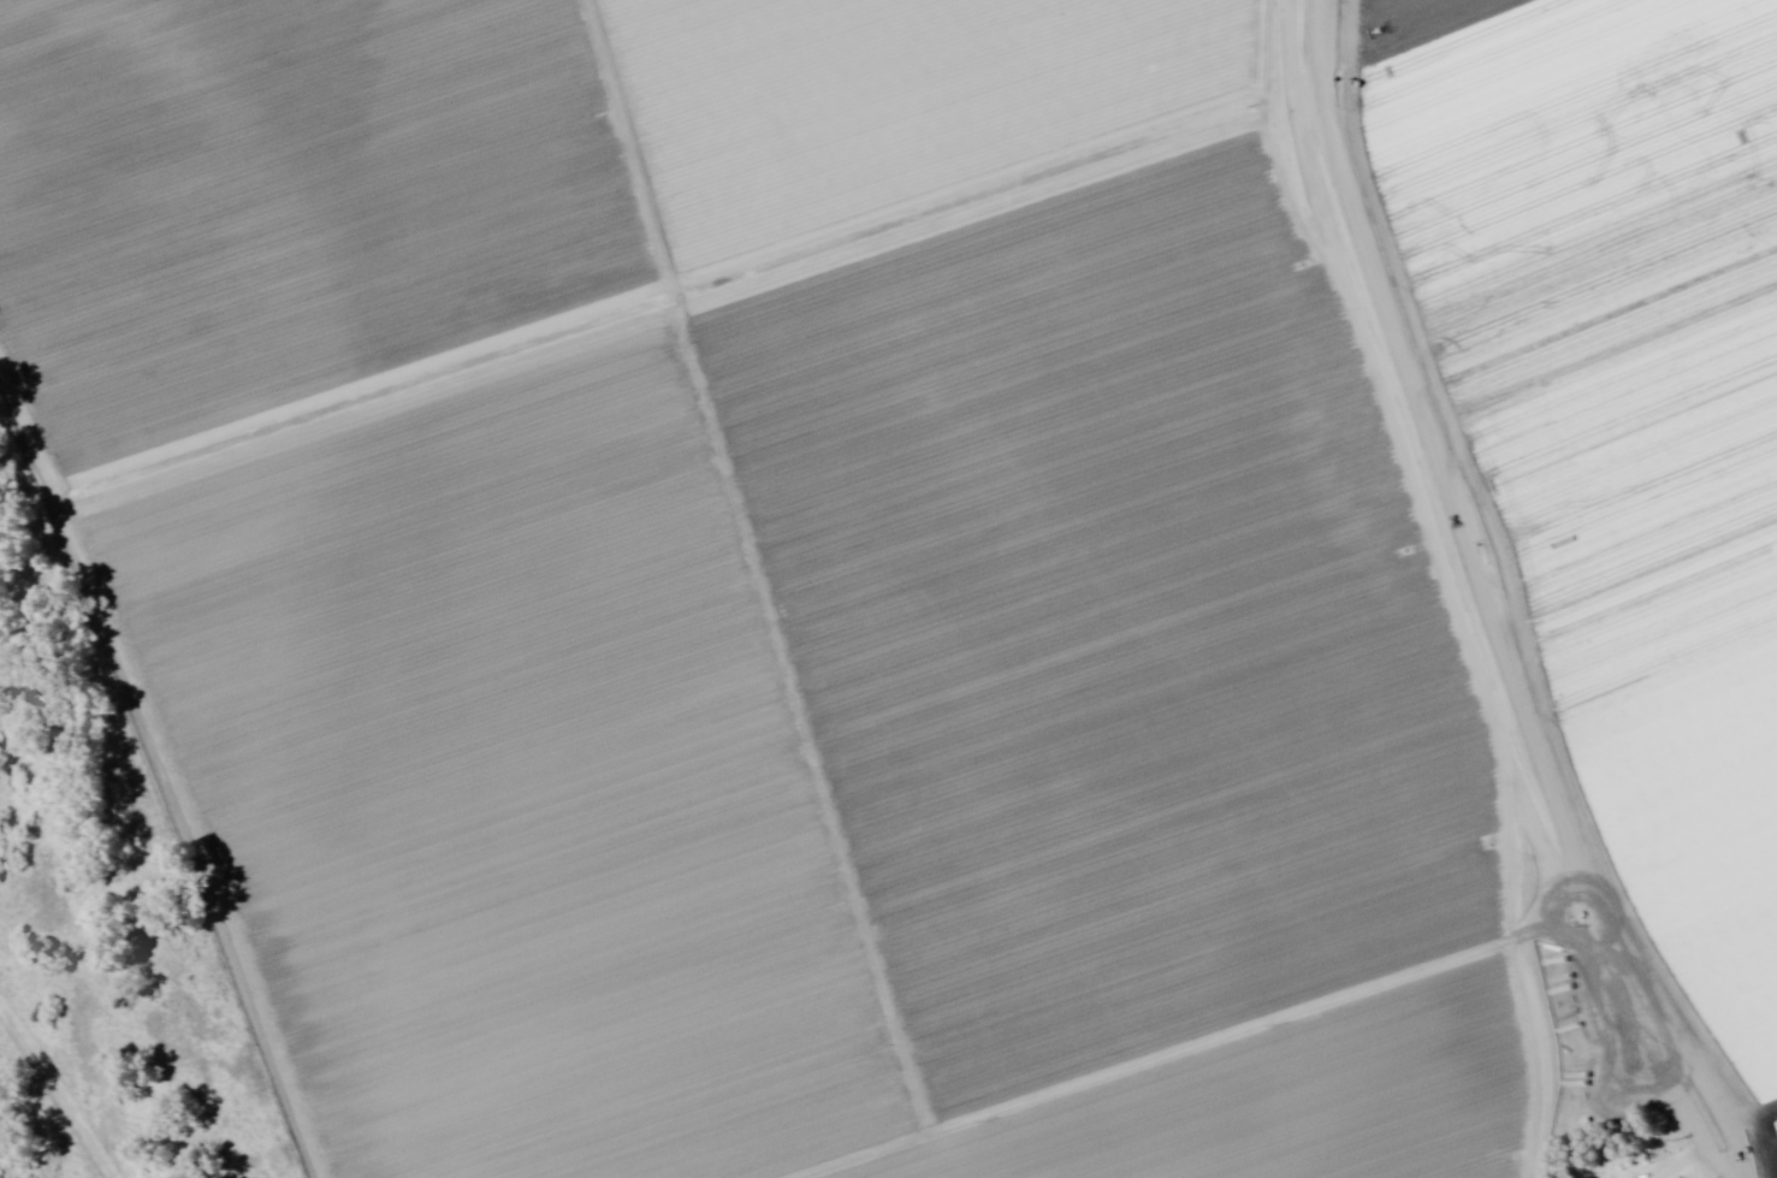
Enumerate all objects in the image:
road: (685, 326)
road: (1427, 451)
crop: (934, 569)
road: (164, 768)
road: (1640, 1040)
road: (1224, 1071)

